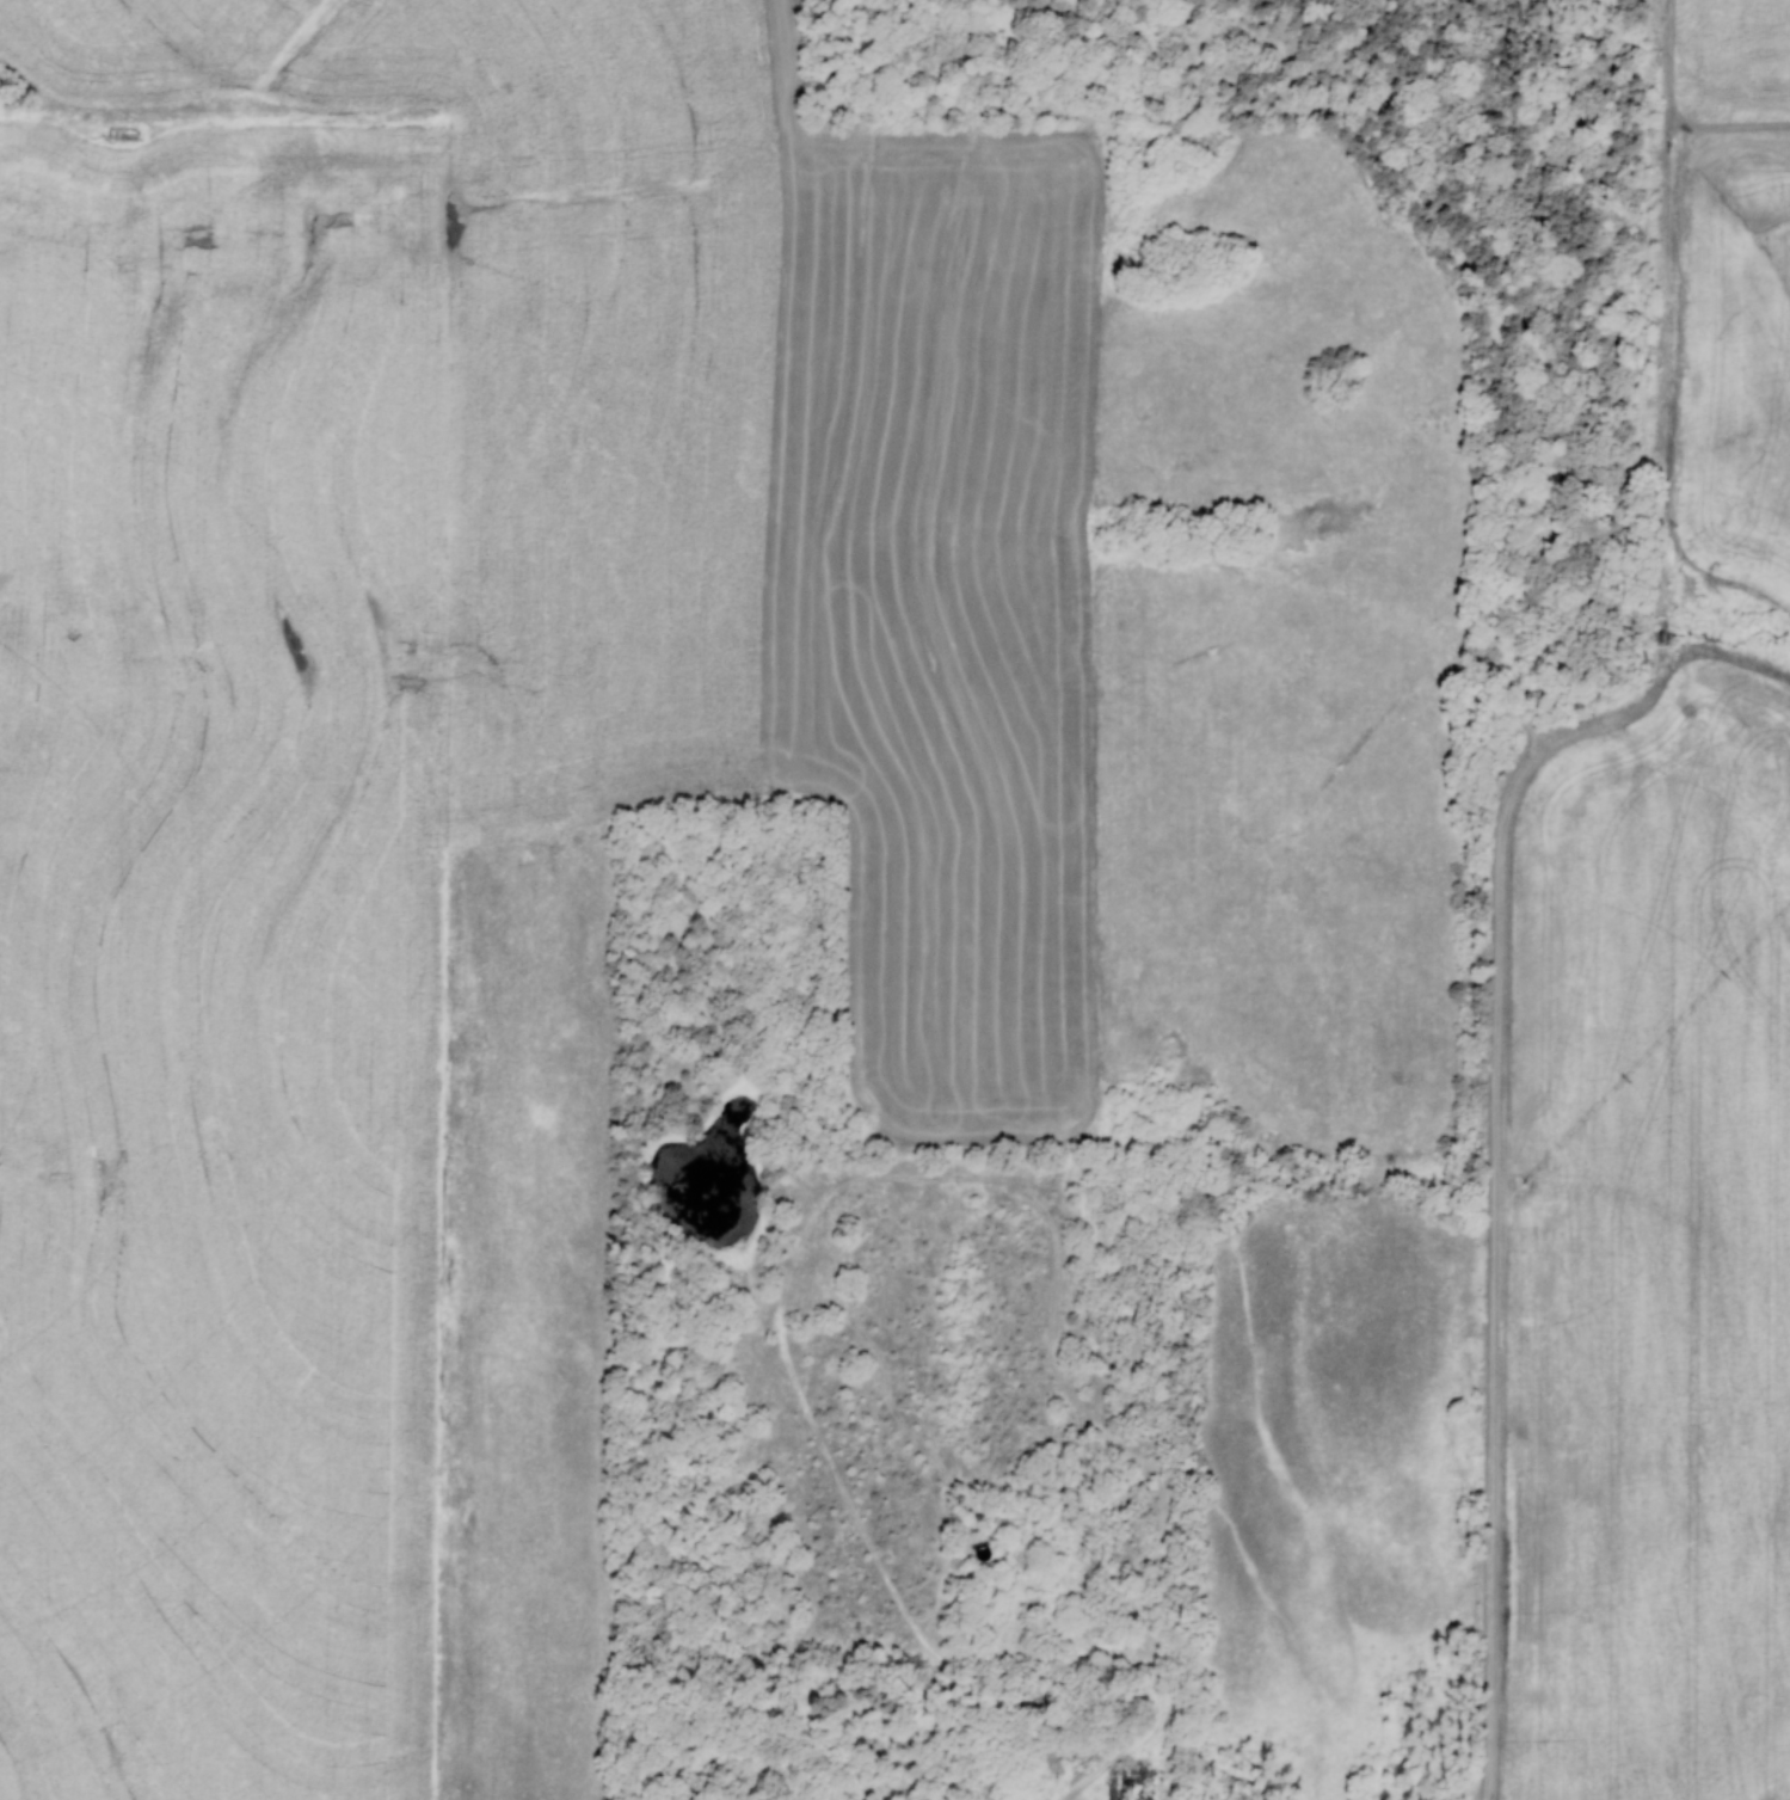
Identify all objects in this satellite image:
road: (1501, 860)
building: (1133, 1781)

